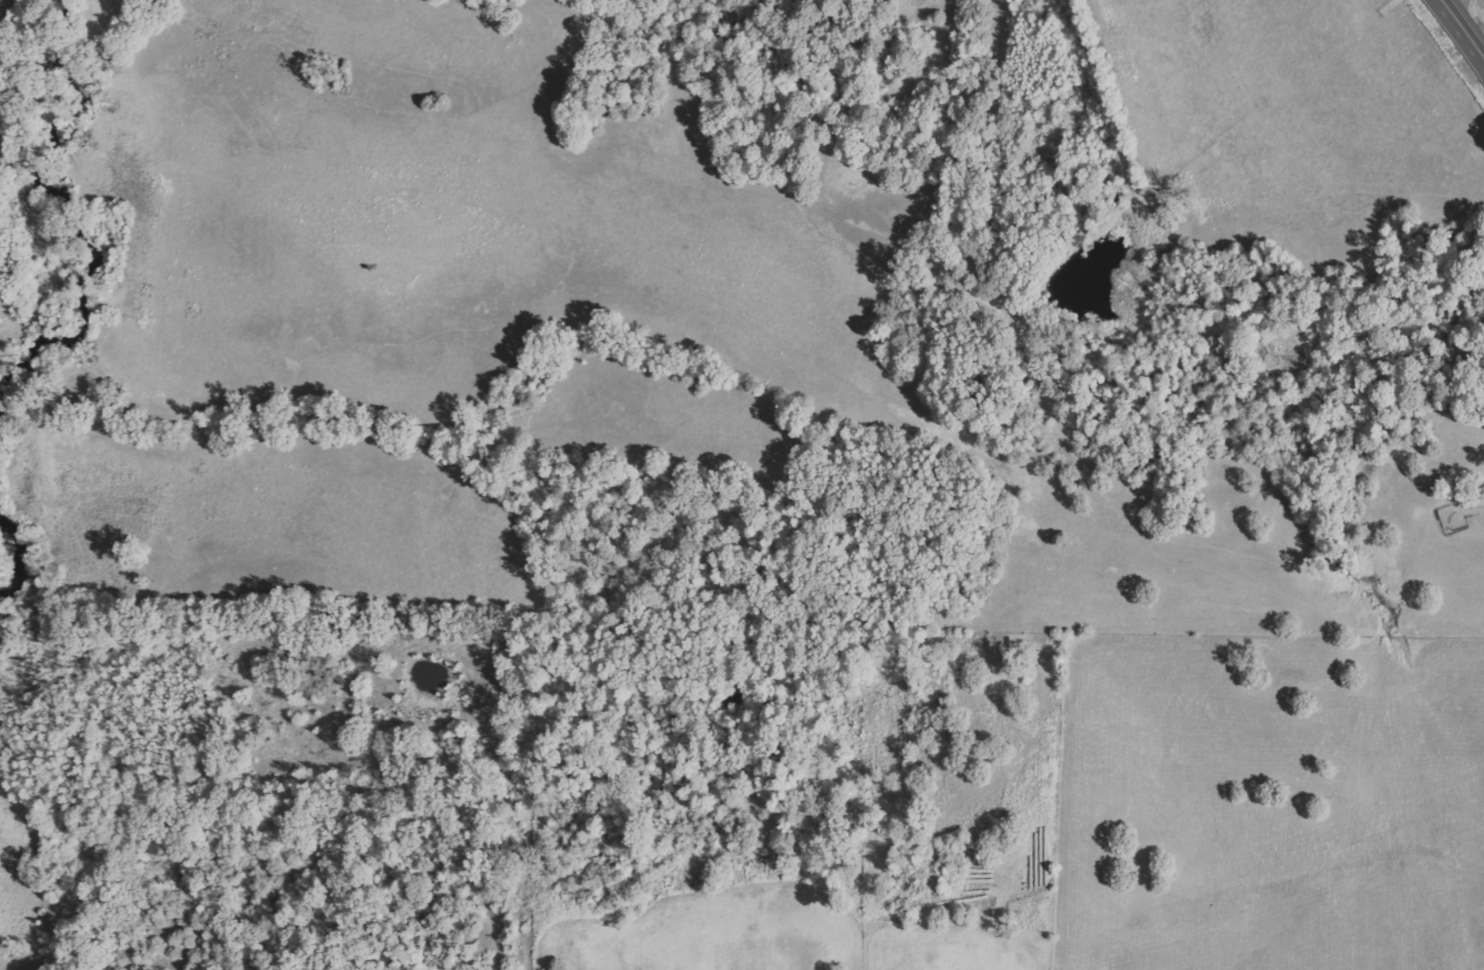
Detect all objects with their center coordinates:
road: (1463, 29)

